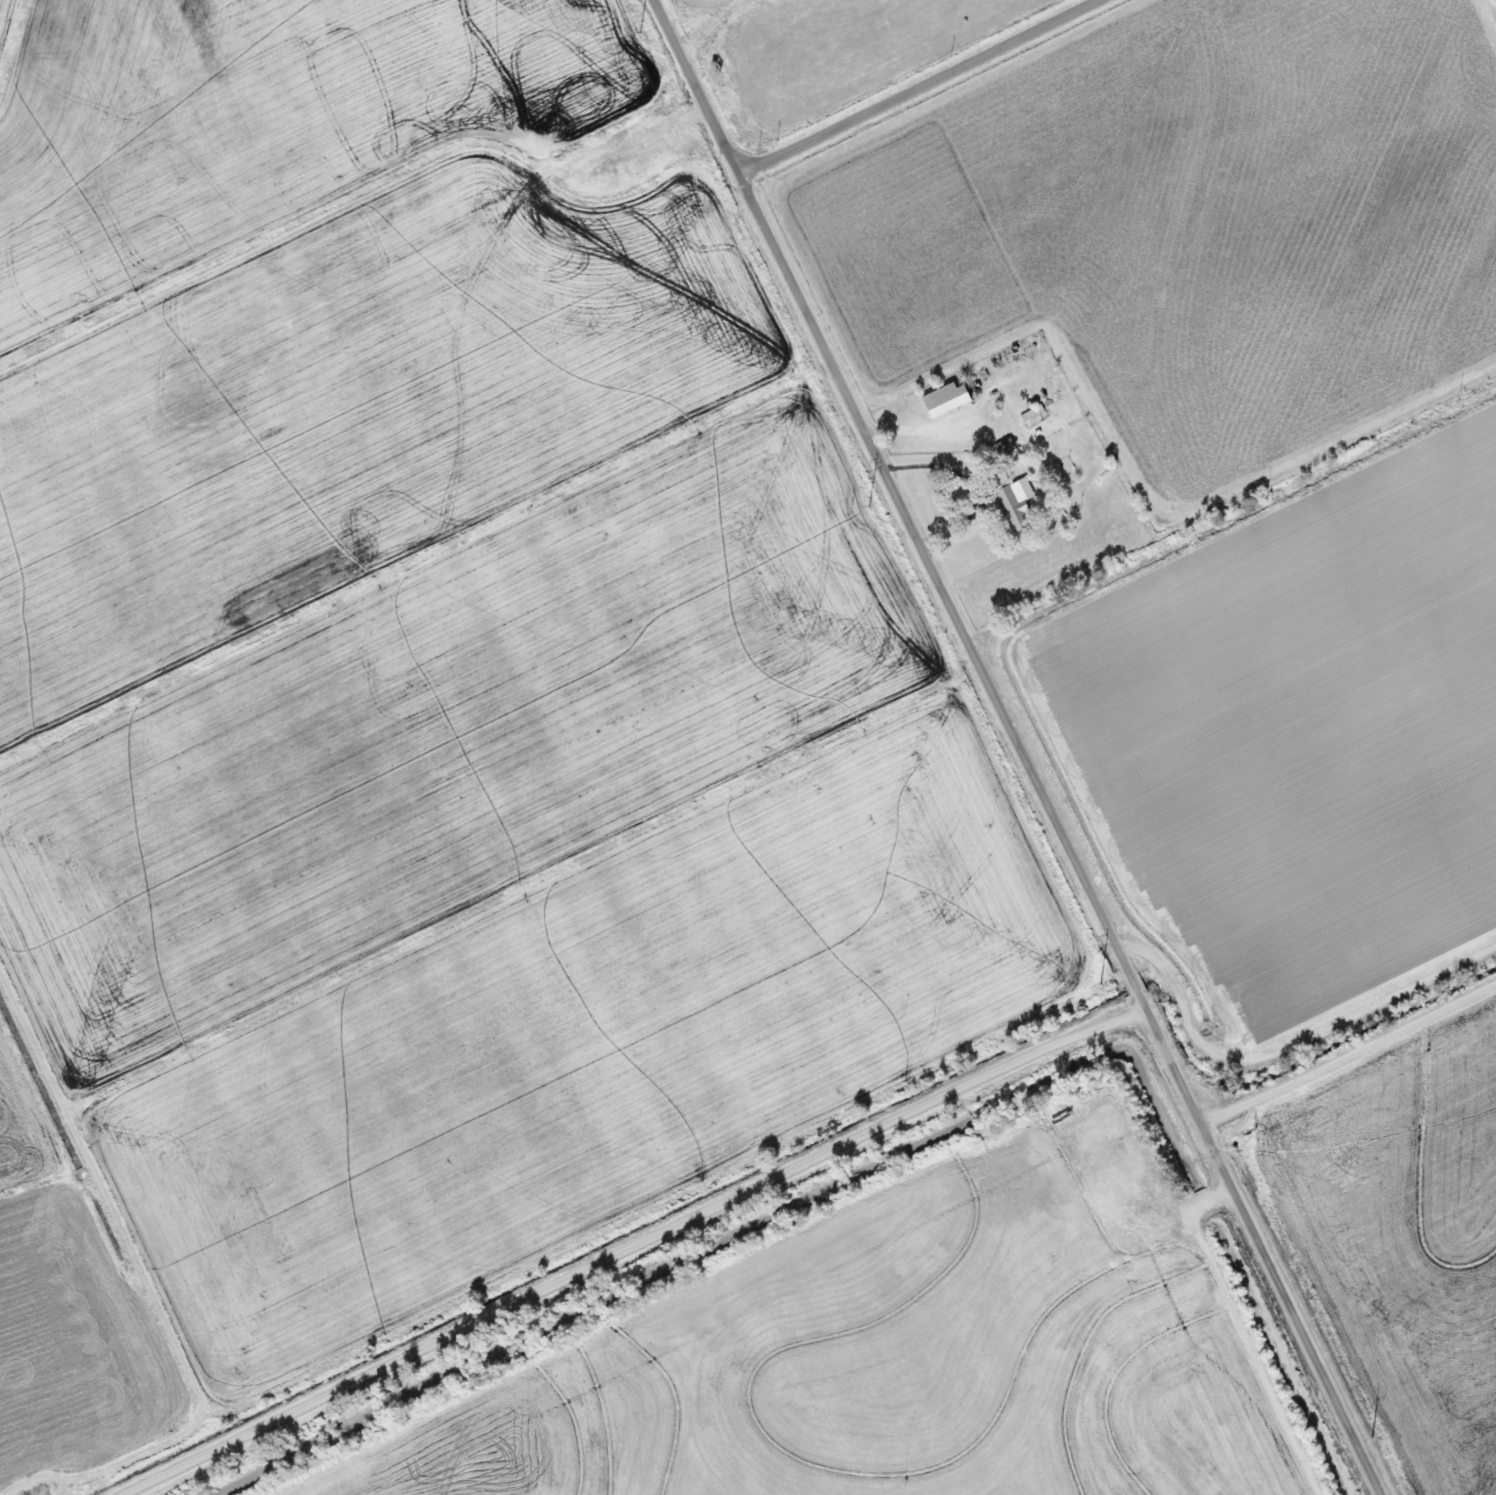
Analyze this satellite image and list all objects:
power tower: (634, 31)
road: (917, 87)
road: (445, 230)
building: (940, 399)
road: (958, 424)
building: (999, 446)
road: (972, 477)
building: (1007, 503)
power tower: (863, 505)
road: (1018, 747)
power tower: (1094, 982)
road: (1348, 1050)
road: (1188, 1198)
road: (626, 1246)
power tower: (1367, 1437)
road: (27, 1494)

